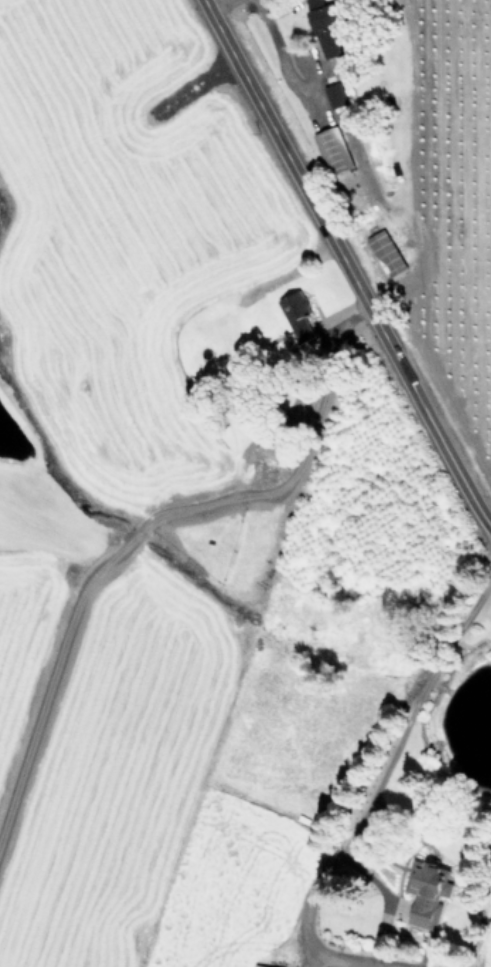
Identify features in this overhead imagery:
road: (211, 2)
building: (329, 27)
road: (280, 53)
building: (336, 94)
building: (336, 149)
crop: (401, 167)
building: (388, 252)
road: (344, 265)
building: (300, 314)
road: (144, 526)
crop: (211, 552)
road: (392, 745)
building: (430, 891)
road: (306, 928)

